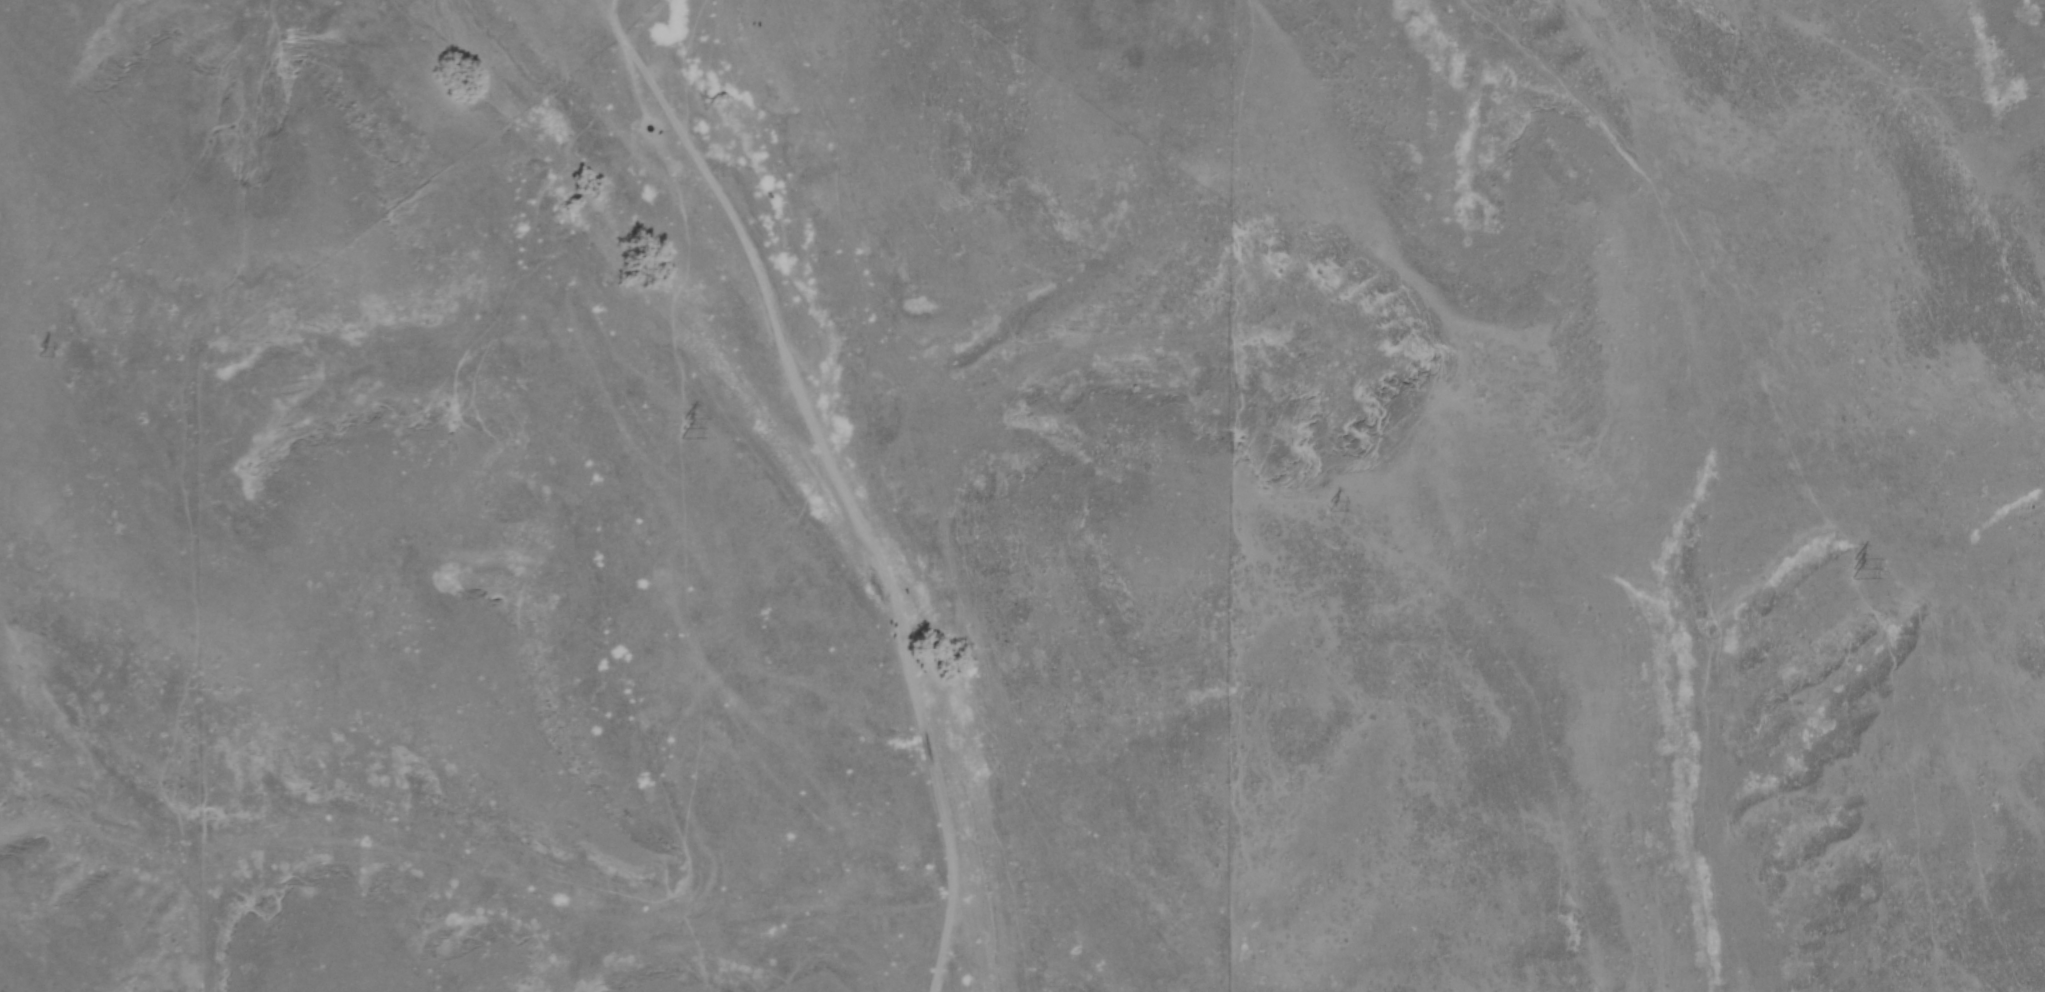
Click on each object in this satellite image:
power tower: (38, 354)
power tower: (682, 430)
power tower: (1328, 508)
power tower: (1854, 570)

